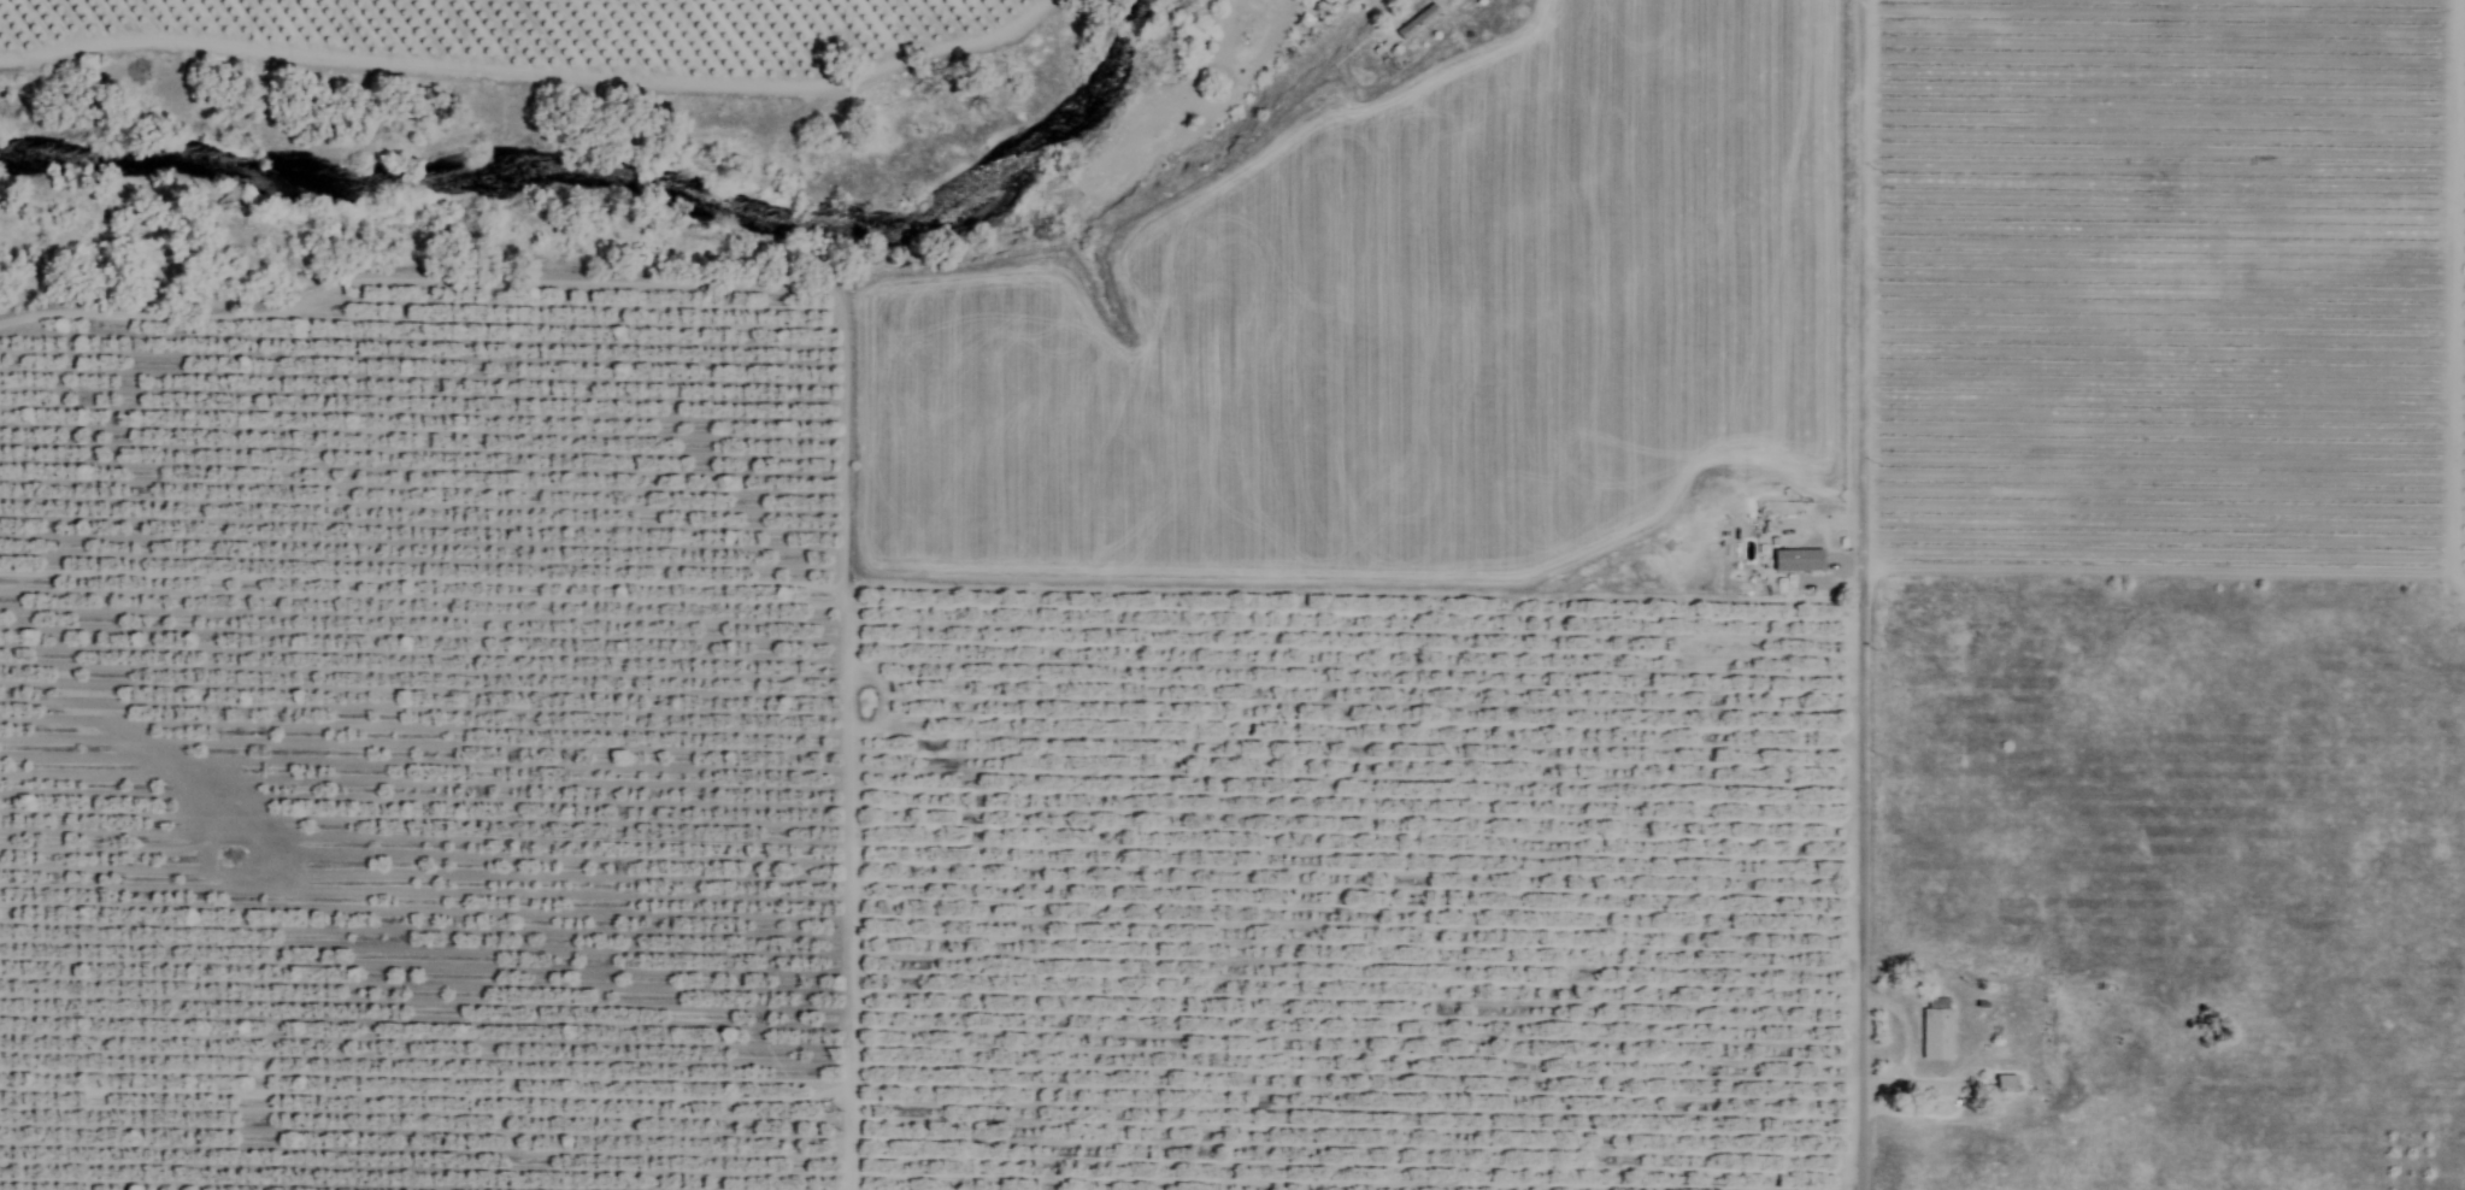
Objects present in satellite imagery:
crop: (2169, 289)
road: (1851, 594)
crop: (773, 693)
building: (1936, 1032)
road: (1910, 1043)
building: (2004, 1086)

